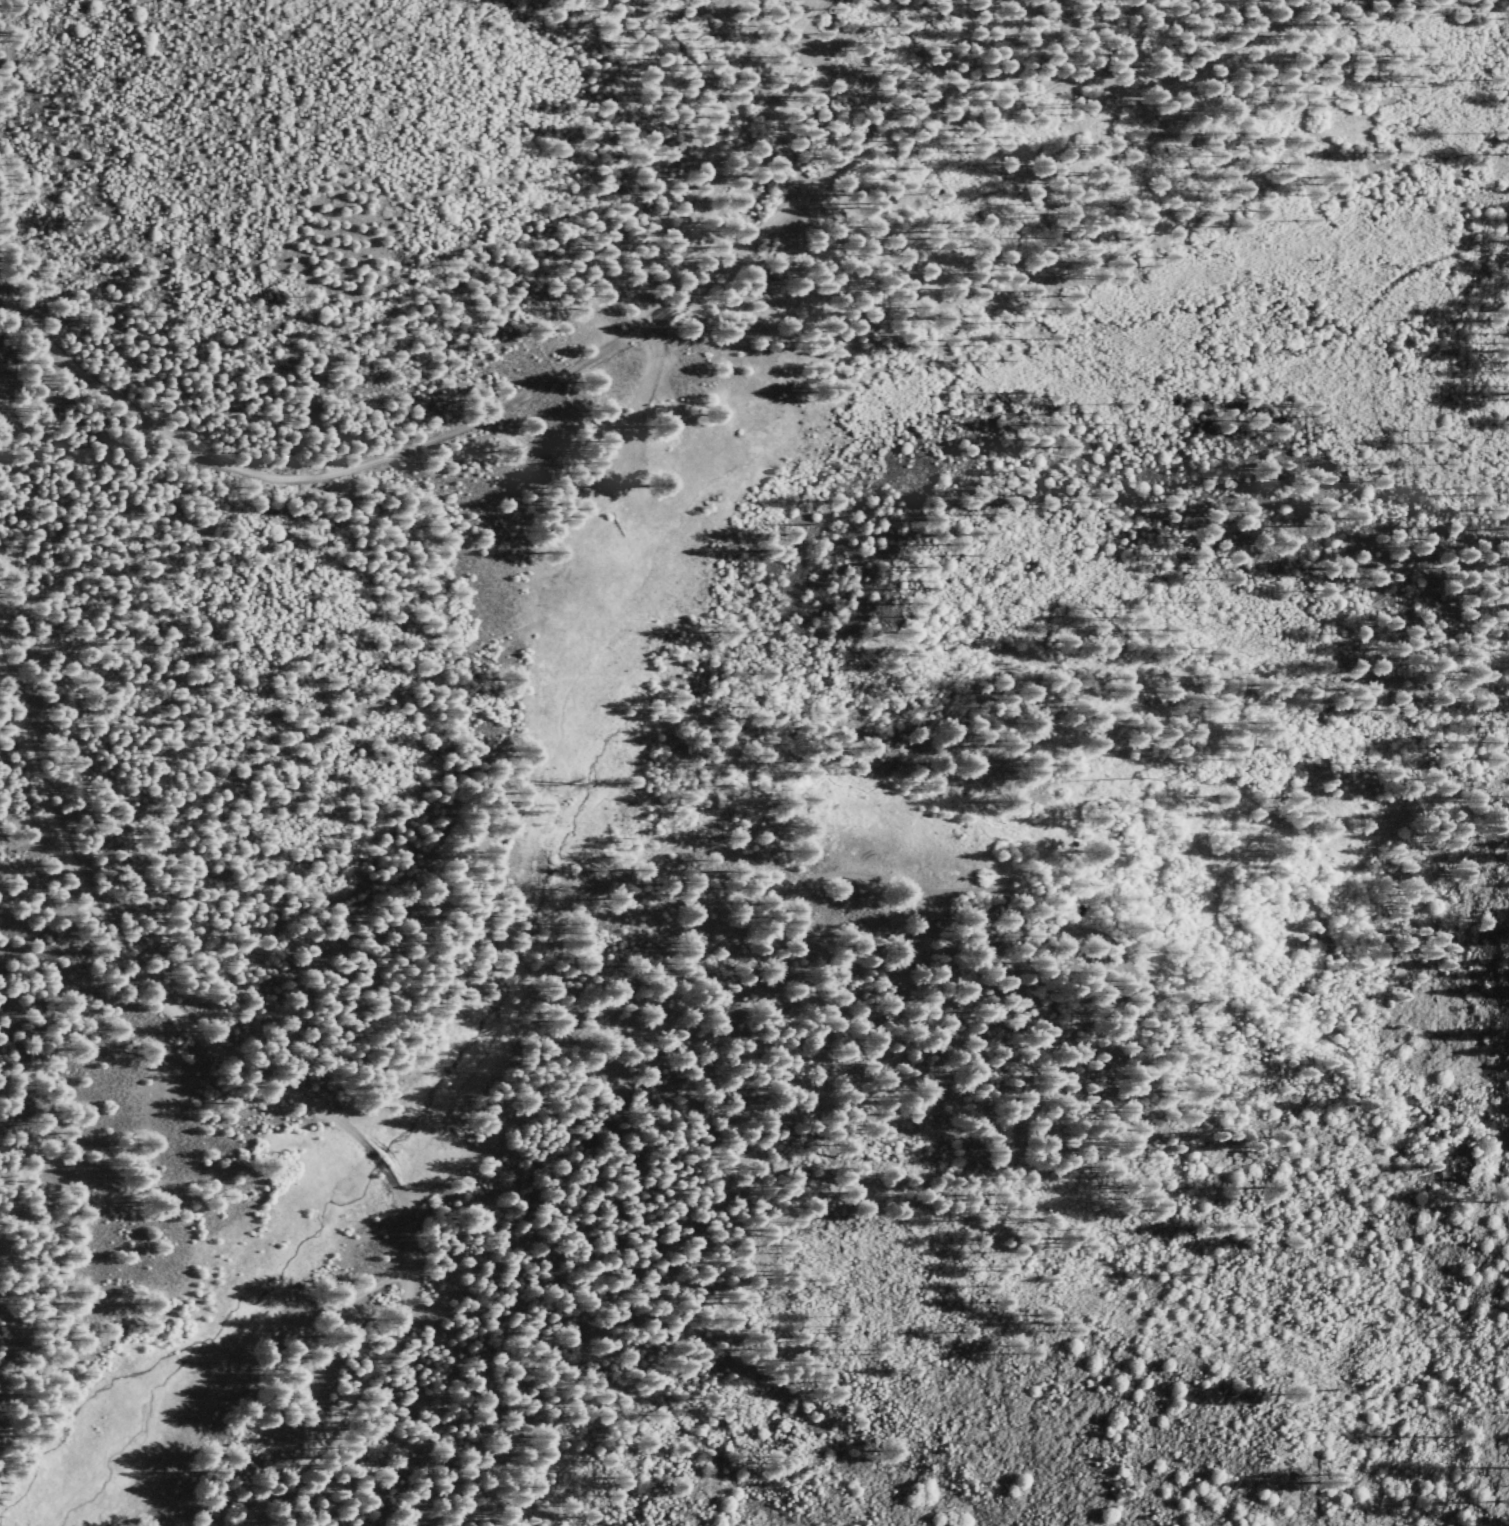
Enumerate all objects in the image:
road: (1317, 8)
road: (647, 324)
road: (745, 919)
road: (294, 1095)
road: (296, 1330)
road: (332, 1353)

